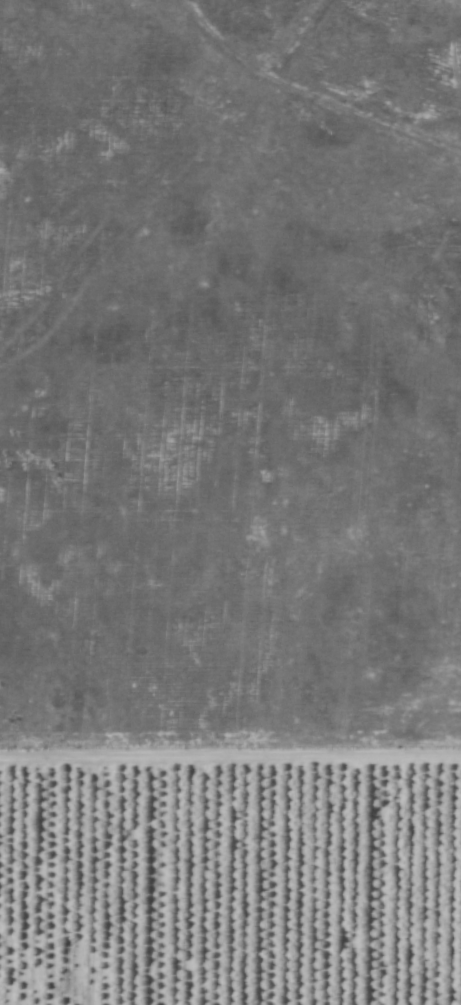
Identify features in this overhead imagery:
road: (230, 681)

